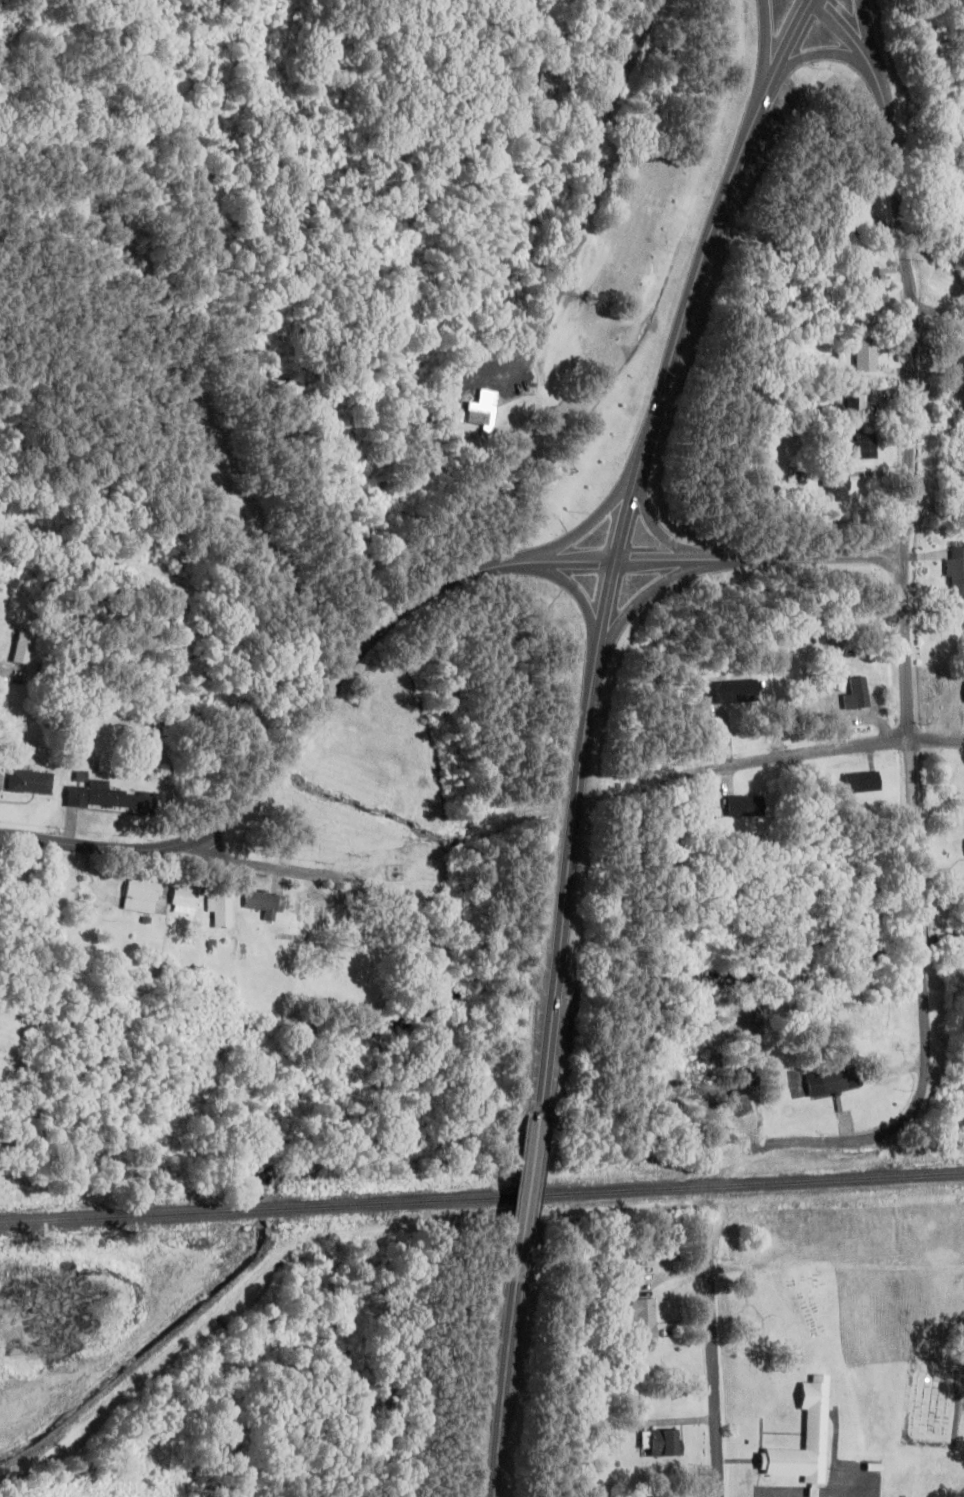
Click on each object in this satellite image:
road: (863, 35)
road: (765, 49)
road: (810, 57)
building: (926, 191)
road: (587, 196)
building: (857, 213)
building: (867, 289)
road: (937, 317)
building: (861, 357)
building: (958, 375)
building: (854, 400)
building: (479, 410)
building: (863, 447)
building: (834, 486)
road: (586, 522)
road: (655, 525)
road: (618, 537)
road: (757, 558)
building: (955, 573)
road: (578, 598)
road: (640, 599)
road: (904, 630)
road: (368, 637)
building: (22, 645)
building: (730, 692)
building: (856, 694)
building: (76, 723)
road: (823, 754)
building: (28, 782)
building: (860, 782)
building: (110, 799)
building: (743, 805)
road: (99, 847)
road: (262, 866)
building: (138, 895)
building: (180, 900)
building: (260, 903)
building: (218, 910)
building: (829, 1083)
road: (519, 1191)
railway: (482, 1198)
building: (643, 1321)
road: (711, 1358)
road: (496, 1389)
building: (813, 1429)
building: (663, 1444)

